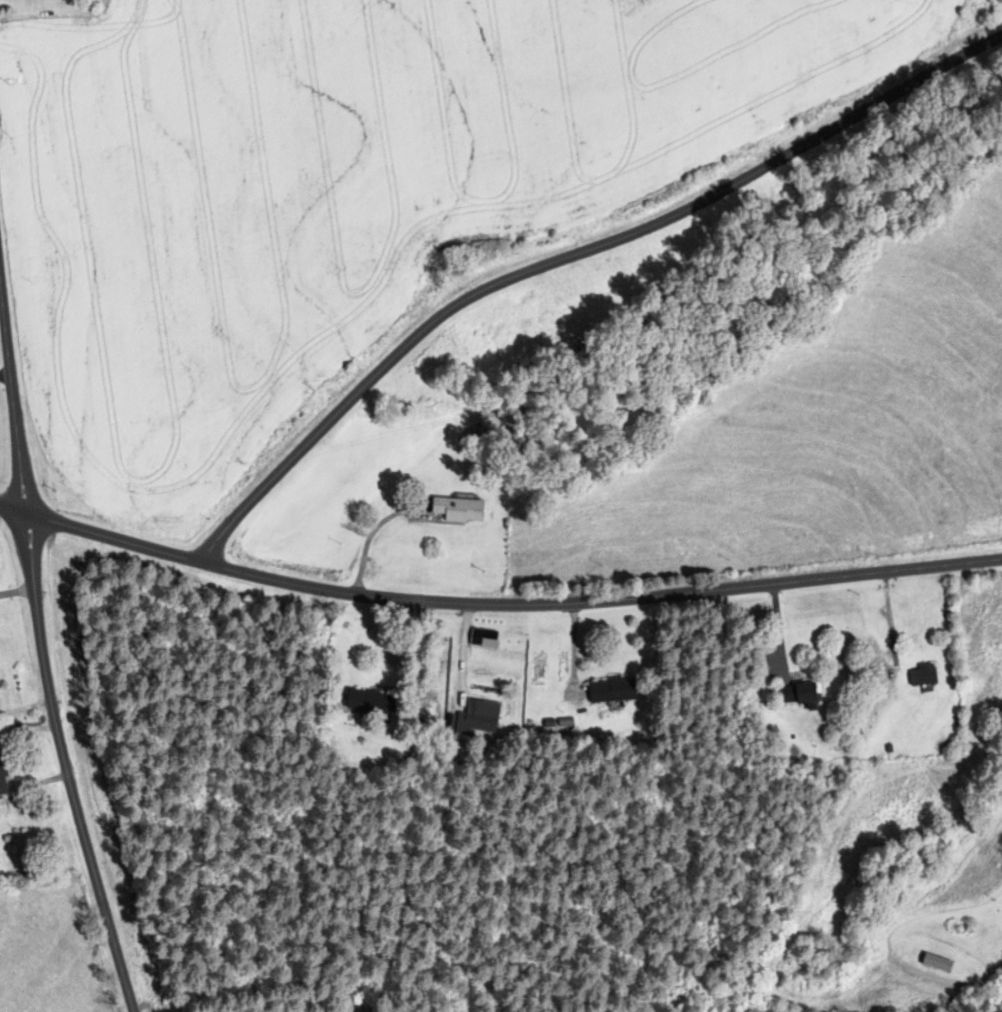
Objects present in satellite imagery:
road: (577, 273)
building: (458, 510)
road: (496, 604)
road: (889, 620)
road: (779, 630)
building: (488, 639)
road: (41, 653)
building: (922, 676)
building: (612, 690)
building: (797, 694)
building: (373, 703)
building: (481, 716)
building: (1, 781)

